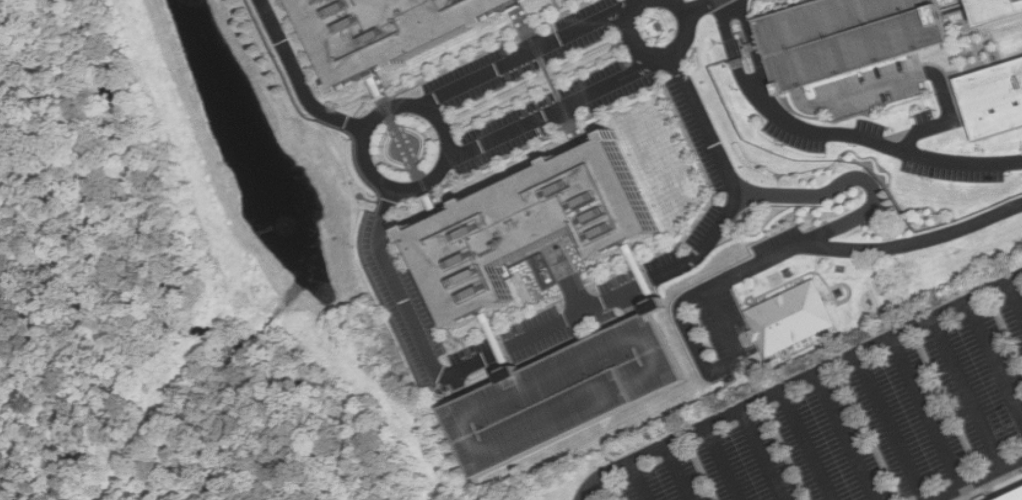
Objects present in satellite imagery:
road: (959, 5)
road: (701, 6)
building: (997, 10)
road: (746, 18)
road: (728, 28)
building: (383, 32)
road: (974, 34)
building: (739, 36)
building: (847, 37)
parking lot: (847, 37)
road: (524, 56)
road: (658, 56)
road: (960, 69)
road: (913, 76)
road: (548, 77)
road: (764, 77)
road: (298, 80)
road: (760, 80)
road: (750, 92)
building: (991, 98)
road: (552, 112)
road: (402, 146)
road: (898, 149)
road: (385, 183)
fountain: (291, 218)
building: (518, 229)
road: (810, 240)
road: (636, 274)
road: (1014, 298)
road: (628, 306)
road: (582, 312)
building: (791, 317)
road: (733, 335)
road: (494, 343)
road: (992, 366)
road: (798, 383)
road: (460, 386)
building: (561, 393)
parking lot: (561, 393)
road: (962, 395)
road: (920, 415)
parking lot: (871, 426)
road: (885, 429)
road: (840, 438)
road: (800, 447)
road: (757, 456)
road: (716, 465)
road: (673, 474)
road: (977, 478)
road: (640, 481)
road: (990, 484)
building: (473, 488)
building: (1015, 496)

